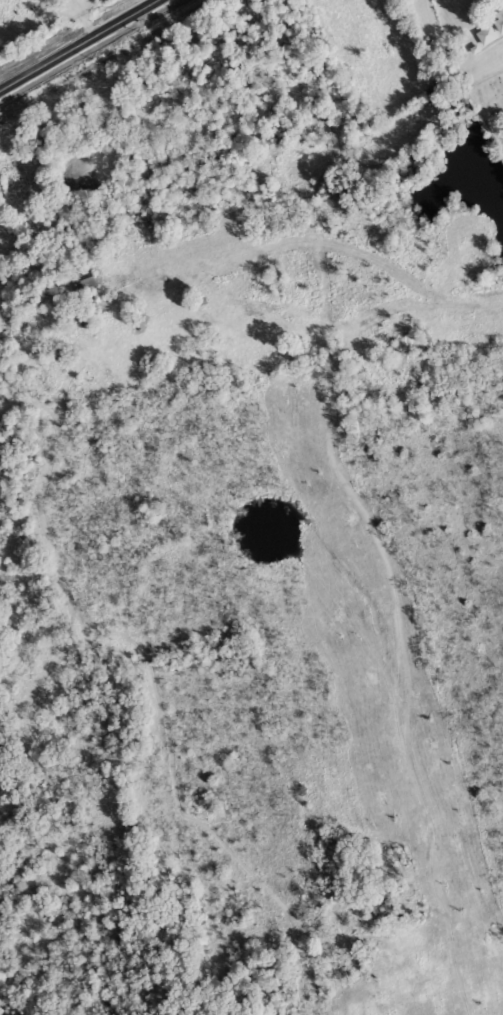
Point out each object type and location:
road: (85, 16)
building: (491, 29)
road: (76, 43)
park: (492, 101)
road: (379, 254)
building: (83, 284)

